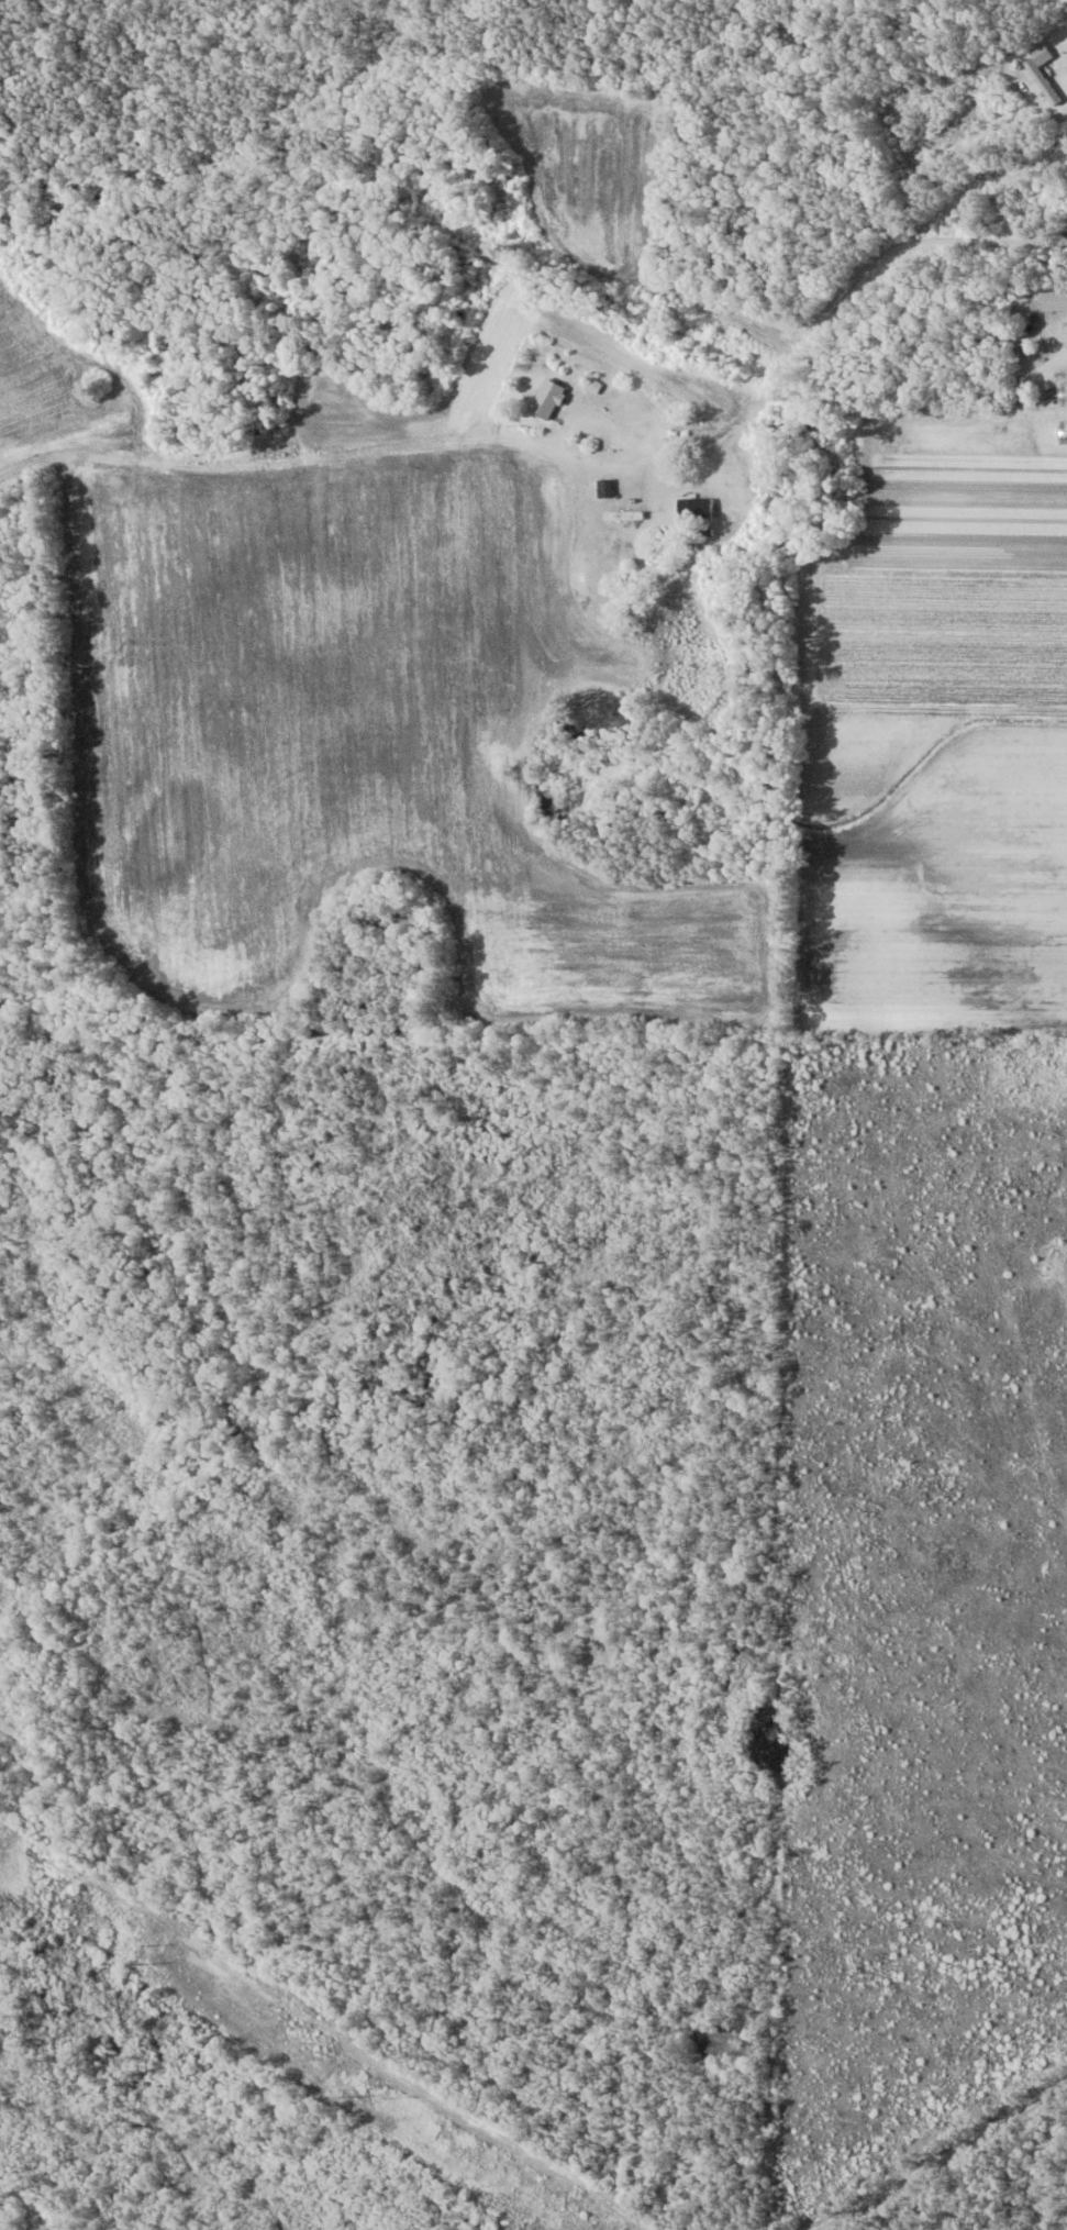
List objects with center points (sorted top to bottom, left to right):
building: (1046, 87)
road: (881, 226)
building: (986, 299)
building: (1063, 395)
building: (548, 398)
building: (1063, 433)
building: (604, 487)
building: (694, 507)
building: (624, 514)

